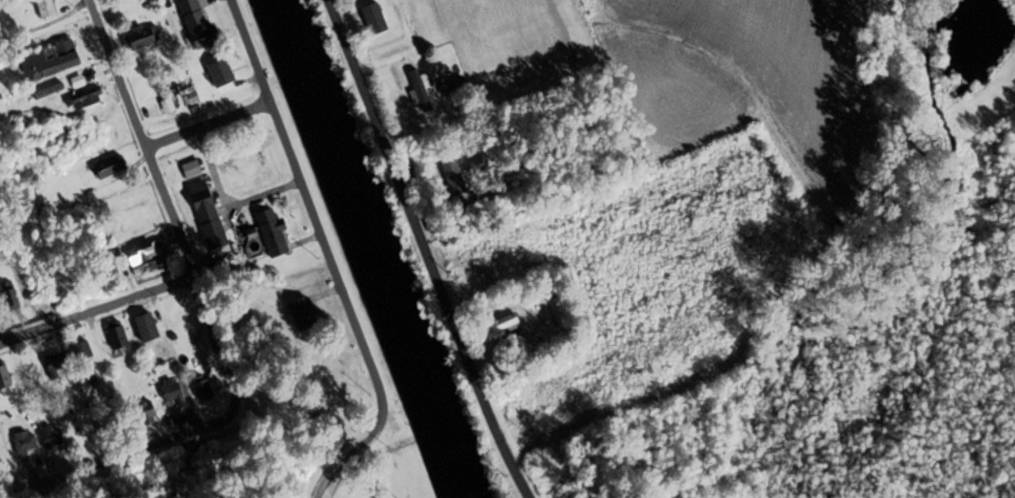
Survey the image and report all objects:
building: (46, 8)
building: (375, 19)
building: (198, 24)
building: (140, 38)
building: (51, 61)
road: (1004, 67)
building: (221, 73)
building: (420, 91)
building: (84, 100)
road: (197, 106)
road: (139, 140)
building: (110, 167)
building: (454, 178)
building: (208, 214)
building: (273, 233)
road: (422, 249)
building: (143, 253)
road: (326, 261)
building: (149, 267)
building: (11, 296)
road: (105, 308)
building: (561, 312)
building: (304, 314)
building: (501, 327)
building: (147, 328)
building: (117, 335)
road: (8, 339)
building: (83, 351)
building: (55, 362)
building: (4, 376)
building: (203, 388)
building: (173, 393)
building: (148, 413)
road: (177, 431)
building: (53, 437)
building: (26, 442)

